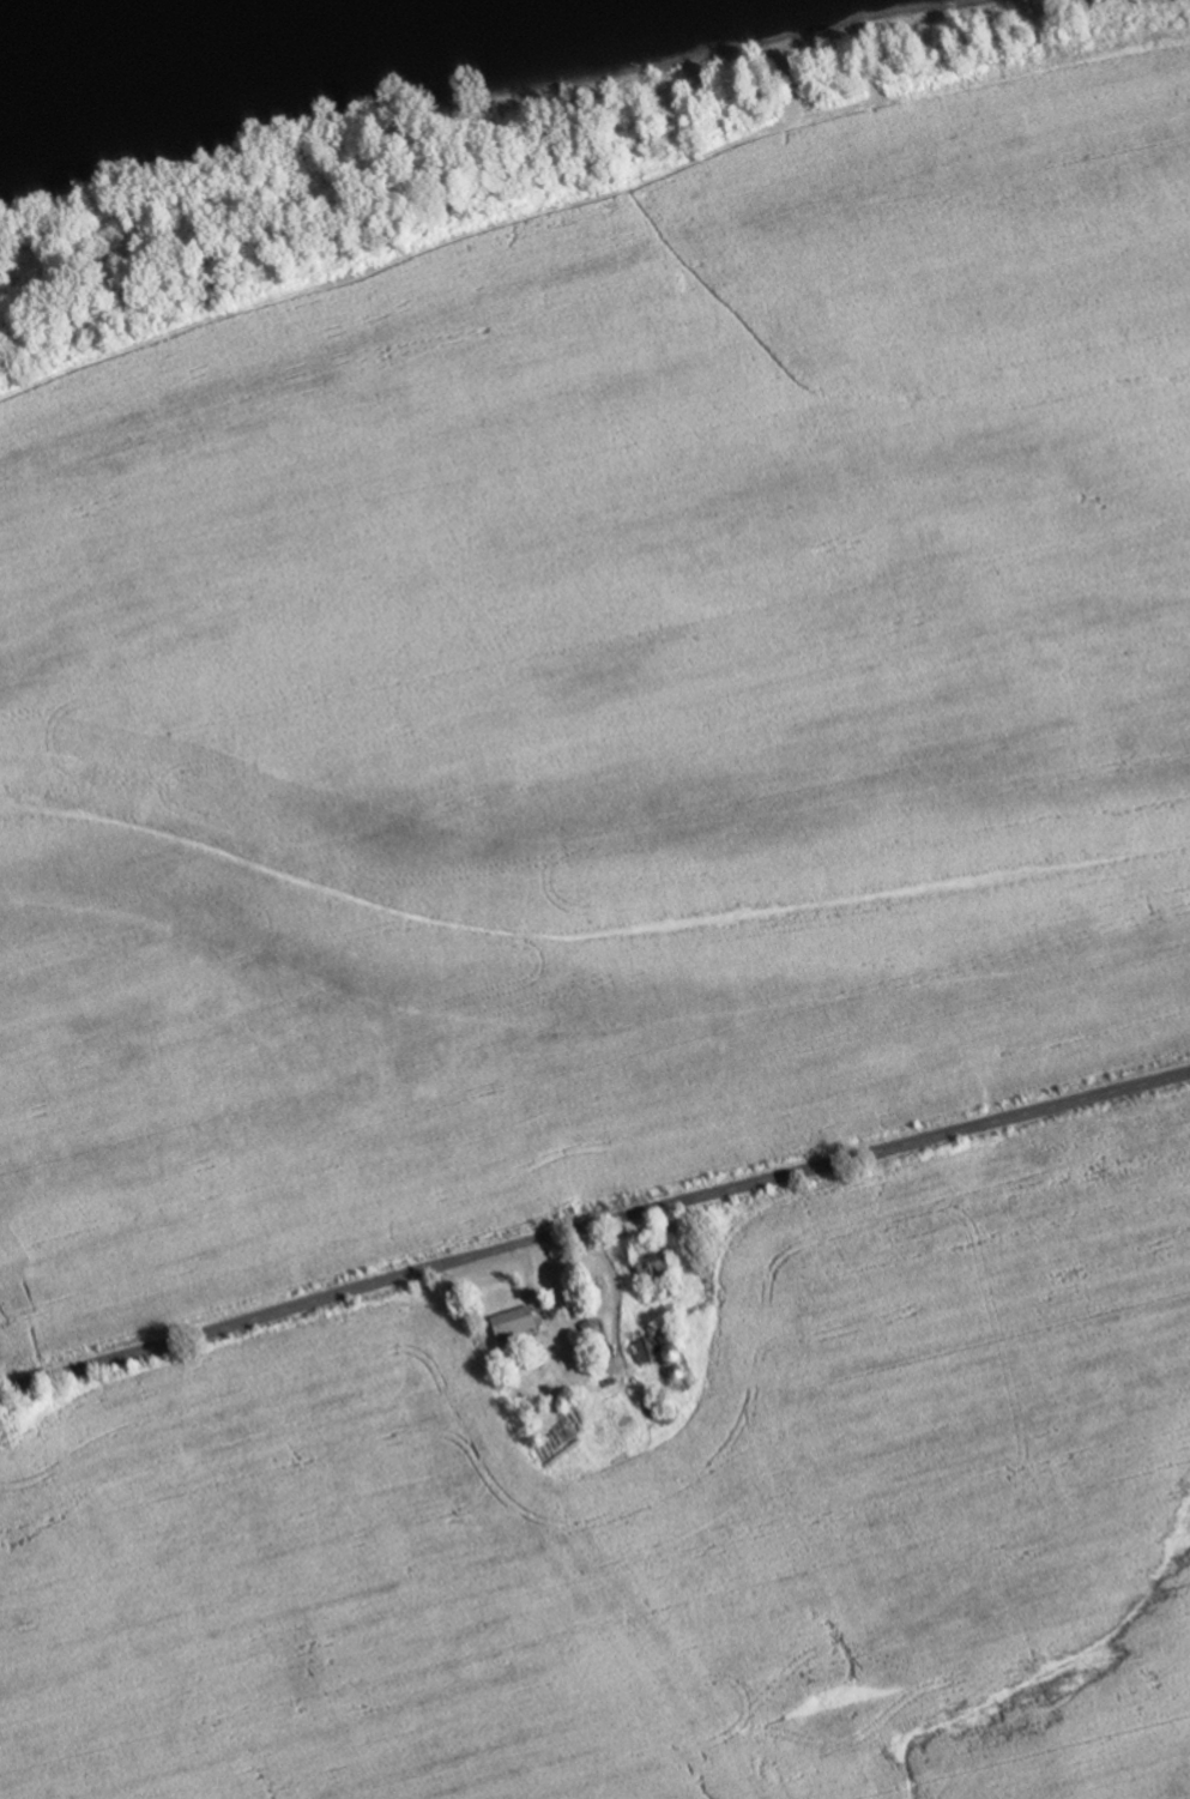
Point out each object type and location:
road: (593, 1224)

